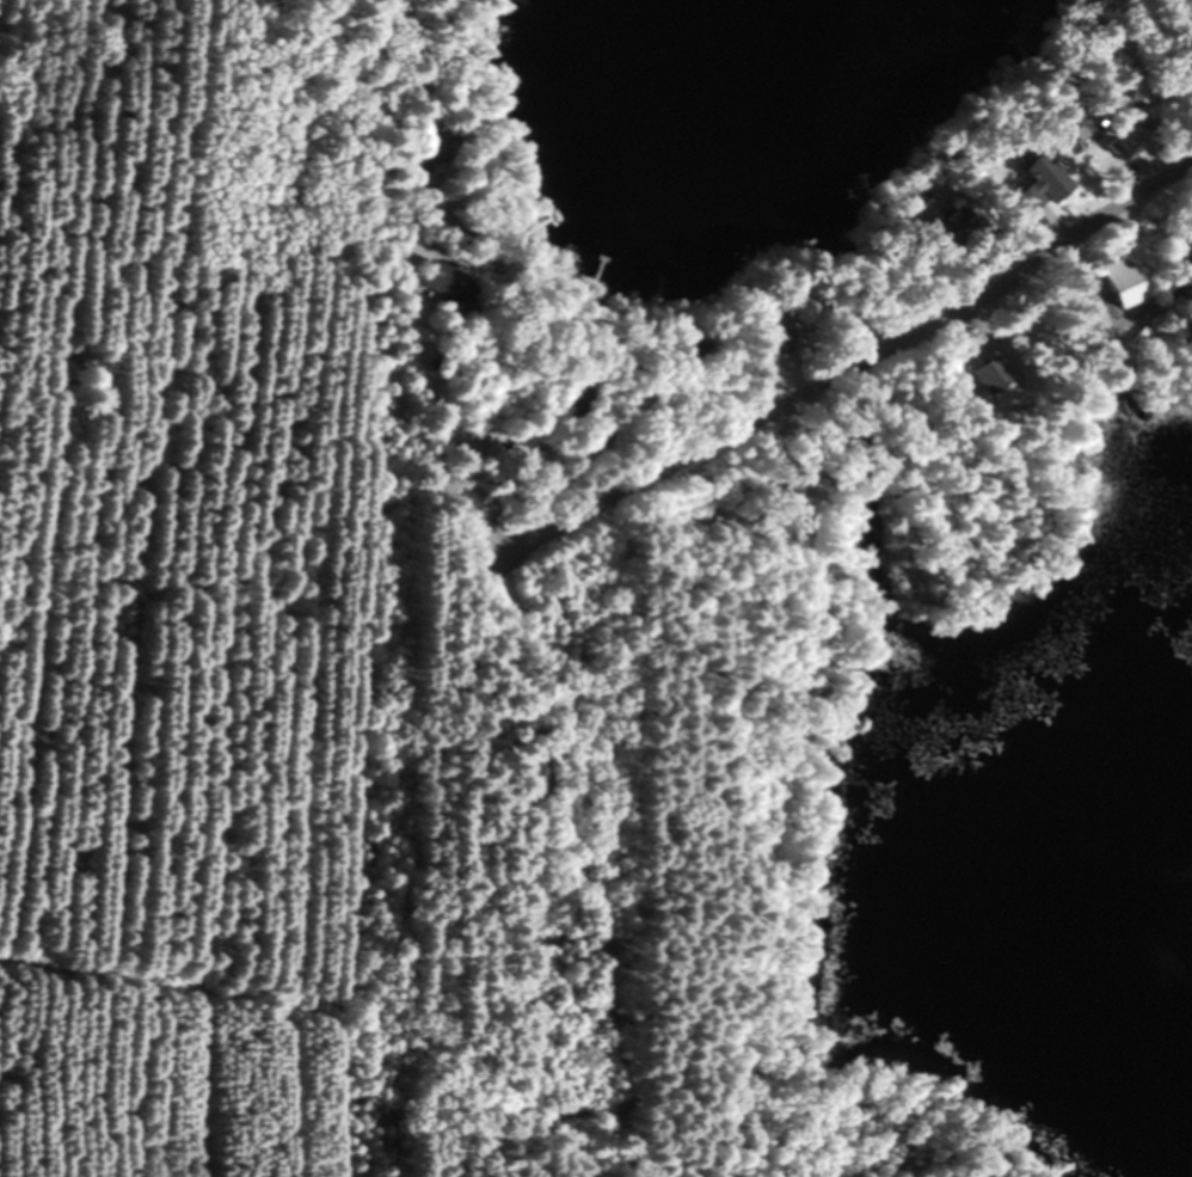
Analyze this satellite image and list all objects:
building: (1080, 125)
building: (437, 148)
building: (954, 222)
building: (1114, 283)
building: (440, 287)
building: (768, 336)
road: (883, 353)
building: (987, 376)
building: (563, 400)
road: (440, 436)
building: (585, 440)
road: (540, 535)

